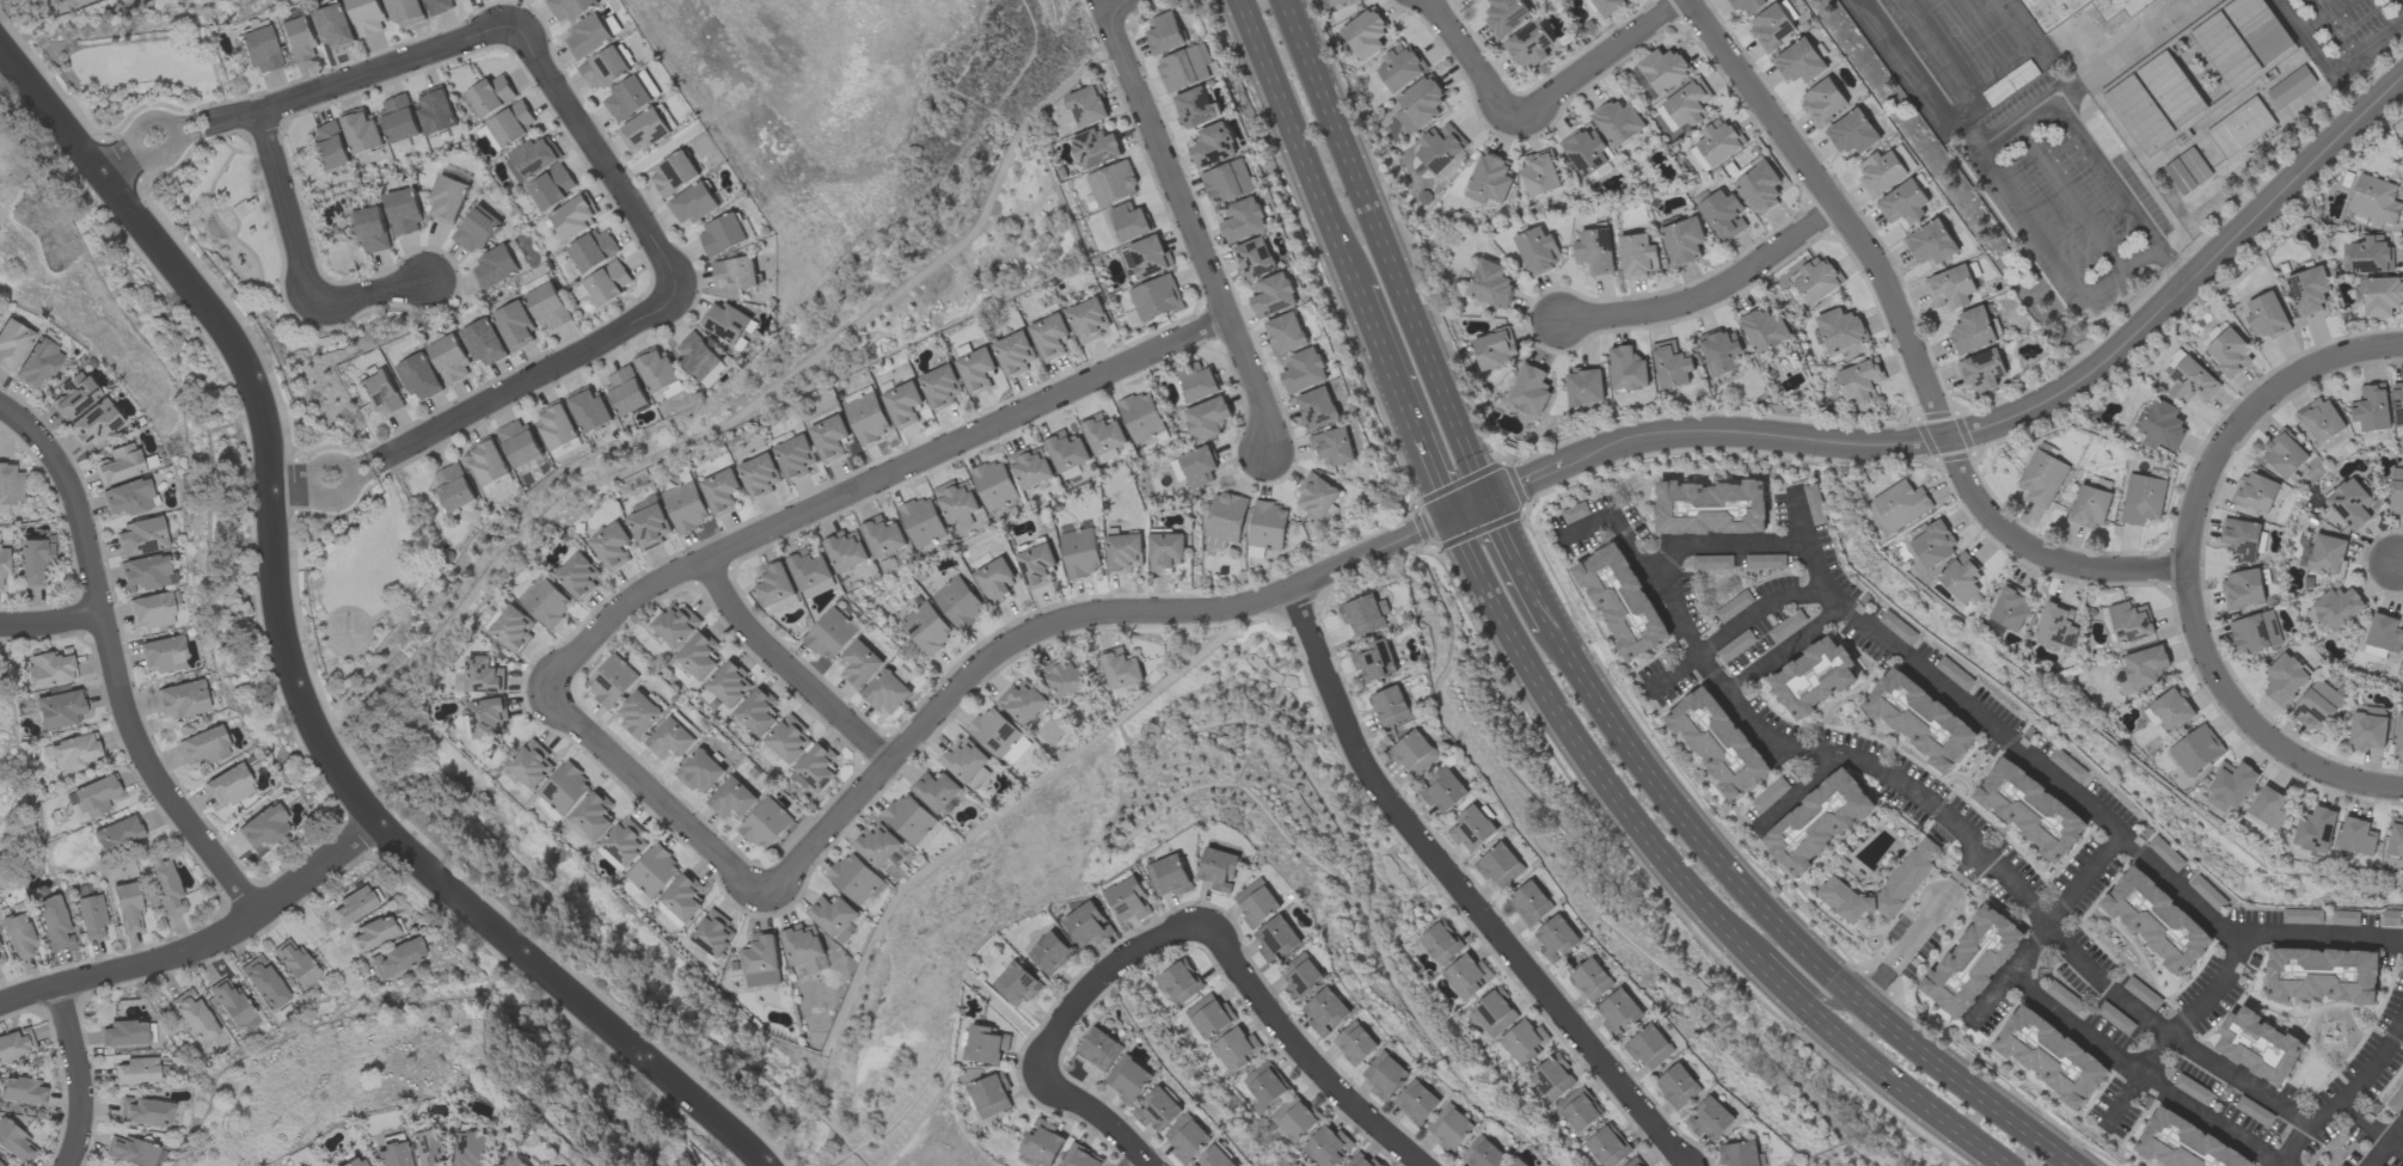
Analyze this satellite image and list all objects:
building: (1338, 2)
road: (2401, 2)
road: (1114, 5)
building: (1747, 5)
building: (441, 6)
building: (1608, 6)
building: (569, 8)
building: (2070, 10)
building: (406, 12)
building: (1507, 16)
building: (368, 17)
building: (335, 25)
building: (1772, 26)
building: (1164, 33)
building: (1365, 33)
building: (588, 36)
building: (299, 38)
building: (2242, 39)
building: (1530, 45)
building: (260, 50)
building: (1800, 61)
road: (2335, 65)
building: (603, 68)
building: (1184, 68)
building: (1400, 68)
building: (1663, 69)
building: (2291, 87)
building: (491, 94)
road: (300, 99)
building: (626, 99)
building: (1823, 100)
building: (2156, 100)
building: (1421, 105)
building: (1087, 106)
road: (1539, 106)
building: (1684, 106)
building: (1196, 108)
building: (435, 110)
building: (398, 118)
building: (1618, 122)
building: (511, 123)
building: (2240, 127)
building: (360, 130)
building: (644, 130)
building: (1853, 133)
road: (2005, 135)
road: (1294, 141)
building: (329, 145)
building: (1715, 145)
building: (1214, 146)
building: (1095, 147)
park: (35, 148)
building: (1439, 148)
road: (602, 154)
building: (532, 158)
road: (44, 164)
park: (189, 165)
building: (1418, 167)
building: (2186, 171)
building: (1881, 172)
building: (673, 174)
building: (1539, 176)
building: (1489, 179)
building: (1227, 182)
building: (1112, 183)
building: (551, 188)
building: (1760, 188)
road: (2072, 197)
building: (447, 198)
building: (2374, 200)
building: (1904, 203)
building: (692, 204)
building: (404, 211)
road: (289, 213)
building: (1723, 214)
building: (575, 215)
building: (1244, 220)
building: (1128, 221)
road: (1191, 221)
building: (370, 229)
building: (476, 229)
building: (722, 234)
building: (1682, 239)
building: (1932, 243)
building: (593, 250)
road: (1384, 250)
building: (1537, 250)
building: (1595, 251)
building: (2370, 254)
building: (1637, 256)
building: (1146, 257)
building: (1255, 258)
building: (495, 268)
building: (734, 274)
building: (1816, 280)
building: (607, 283)
building: (1490, 284)
building: (1951, 288)
building: (2309, 290)
road: (1712, 294)
building: (1274, 295)
road: (373, 296)
building: (2381, 296)
building: (1155, 297)
building: (548, 306)
building: (2266, 315)
building: (1087, 320)
building: (724, 321)
building: (515, 326)
building: (1840, 330)
building: (1765, 331)
building: (1973, 331)
building: (1287, 333)
building: (1049, 336)
road: (1908, 340)
building: (484, 343)
building: (1820, 343)
building: (12, 344)
building: (1495, 349)
building: (1721, 351)
building: (2229, 351)
building: (1013, 354)
building: (698, 355)
building: (449, 358)
building: (2175, 358)
building: (38, 364)
building: (1672, 364)
building: (1626, 368)
building: (656, 369)
building: (976, 370)
building: (1305, 370)
building: (1982, 370)
building: (716, 375)
building: (419, 376)
building: (1196, 381)
building: (1859, 381)
building: (2193, 381)
building: (940, 387)
building: (1584, 387)
building: (626, 391)
building: (1530, 391)
building: (381, 393)
building: (73, 397)
road: (1399, 400)
building: (902, 405)
road: (482, 406)
building: (2398, 406)
building: (1318, 407)
building: (589, 409)
building: (2371, 409)
building: (865, 415)
building: (1141, 417)
road: (2249, 417)
building: (1207, 419)
building: (2321, 421)
building: (93, 424)
building: (2159, 424)
building: (557, 425)
road: (2000, 425)
building: (1102, 434)
building: (829, 437)
building: (519, 442)
building: (1334, 446)
building: (1066, 450)
building: (2285, 454)
building: (795, 458)
building: (488, 461)
building: (119, 465)
building: (1199, 466)
building: (1030, 467)
building: (1177, 470)
building: (759, 475)
building: (2042, 478)
road: (872, 483)
building: (10, 485)
building: (994, 485)
building: (454, 486)
building: (721, 491)
building: (2396, 491)
building: (2255, 492)
building: (1317, 495)
building: (127, 498)
building: (2143, 499)
building: (956, 501)
building: (1815, 504)
building: (1901, 504)
building: (2350, 504)
building: (685, 507)
building: (1712, 507)
building: (2089, 507)
road: (1467, 509)
building: (1575, 513)
building: (1226, 516)
road: (1617, 520)
building: (921, 522)
building: (649, 526)
building: (1268, 526)
building: (882, 536)
building: (141, 538)
building: (2240, 538)
building: (1933, 544)
building: (612, 546)
building: (846, 551)
building: (1080, 552)
building: (1123, 552)
building: (1165, 552)
building: (2327, 554)
building: (1765, 561)
building: (4, 563)
building: (35, 563)
road: (1516, 563)
building: (1712, 563)
road: (2399, 563)
building: (1036, 565)
building: (809, 569)
building: (145, 573)
building: (578, 575)
building: (1961, 578)
building: (995, 579)
building: (774, 584)
building: (2243, 588)
park: (364, 589)
building: (544, 602)
building: (958, 602)
building: (1622, 603)
building: (1734, 606)
building: (2011, 607)
building: (2337, 608)
road: (1760, 609)
building: (152, 610)
building: (1365, 614)
road: (51, 621)
building: (2131, 621)
building: (675, 624)
road: (1062, 626)
building: (1786, 626)
building: (1898, 627)
building: (511, 628)
building: (926, 628)
building: (2055, 630)
building: (2255, 632)
building: (830, 634)
building: (2383, 636)
road: (1788, 651)
building: (163, 653)
building: (698, 656)
road: (292, 661)
building: (1375, 661)
road: (115, 664)
building: (860, 664)
road: (792, 665)
building: (2145, 665)
building: (1120, 668)
building: (49, 669)
building: (1955, 673)
building: (479, 676)
building: (1063, 677)
road: (1679, 677)
building: (1816, 679)
building: (2285, 679)
building: (612, 680)
building: (730, 685)
building: (888, 692)
building: (182, 699)
building: (1023, 701)
building: (2318, 705)
building: (1390, 706)
building: (59, 708)
building: (2172, 710)
building: (758, 711)
building: (638, 713)
building: (1920, 720)
road: (2254, 725)
building: (2367, 726)
building: (994, 732)
building: (2399, 736)
building: (789, 738)
building: (670, 740)
building: (1718, 743)
building: (203, 745)
building: (2195, 750)
building: (74, 753)
building: (1414, 753)
building: (967, 762)
building: (532, 765)
building: (2067, 765)
building: (815, 768)
building: (701, 771)
road: (2058, 781)
building: (228, 786)
building: (2230, 786)
road: (1800, 787)
building: (564, 788)
building: (1443, 790)
road: (1911, 790)
road: (654, 791)
building: (936, 791)
building: (1770, 794)
building: (93, 796)
building: (732, 798)
building: (2269, 806)
building: (2030, 810)
building: (594, 814)
building: (908, 818)
building: (766, 823)
building: (1820, 824)
building: (263, 828)
building: (1472, 829)
building: (2315, 829)
building: (117, 834)
building: (2358, 836)
building: (2395, 837)
building: (624, 842)
building: (877, 845)
building: (2166, 853)
building: (1501, 865)
building: (1220, 869)
building: (654, 871)
building: (1171, 876)
building: (853, 878)
road: (1682, 879)
building: (1902, 886)
building: (166, 888)
road: (1466, 894)
building: (2208, 894)
building: (682, 897)
building: (1129, 900)
building: (1258, 903)
building: (1532, 903)
building: (354, 906)
building: (128, 908)
building: (669, 914)
building: (91, 916)
building: (2303, 916)
building: (833, 918)
building: (2346, 918)
building: (54, 922)
building: (2156, 923)
building: (1087, 925)
road: (1779, 925)
road: (1921, 927)
road: (2043, 928)
building: (712, 933)
building: (372, 934)
building: (19, 935)
road: (317, 938)
building: (1279, 939)
building: (1557, 939)
road: (203, 941)
building: (1440, 943)
building: (802, 944)
building: (1050, 953)
building: (397, 958)
building: (1, 961)
building: (761, 961)
building: (1972, 962)
building: (295, 963)
road: (1785, 964)
building: (1302, 976)
building: (1467, 976)
road: (1103, 977)
building: (2323, 978)
building: (1593, 980)
building: (264, 982)
building: (1014, 982)
building: (1178, 983)
building: (2141, 993)
building: (231, 1002)
road: (2200, 1009)
building: (1326, 1012)
building: (1620, 1012)
building: (1494, 1013)
building: (194, 1015)
building: (1209, 1015)
building: (2115, 1018)
road: (2077, 1027)
building: (123, 1033)
building: (1524, 1042)
building: (1356, 1043)
building: (16, 1044)
building: (987, 1044)
building: (1650, 1047)
building: (2260, 1047)
building: (1101, 1049)
building: (1233, 1050)
road: (1306, 1054)
building: (2050, 1057)
building: (136, 1070)
building: (1386, 1075)
road: (75, 1078)
building: (1552, 1078)
building: (1128, 1079)
building: (1265, 1086)
building: (1679, 1086)
building: (2193, 1090)
building: (23, 1091)
road: (2349, 1091)
building: (991, 1094)
building: (2396, 1100)
building: (1417, 1101)
road: (2127, 1101)
building: (1158, 1110)
building: (1578, 1110)
building: (145, 1112)
road: (1099, 1113)
building: (1293, 1119)
building: (1711, 1119)
road: (2212, 1122)
road: (2364, 1123)
building: (1452, 1128)
building: (1188, 1139)
building: (1042, 1142)
building: (16, 1143)
building: (2183, 1143)
road: (2386, 1146)
building: (427, 1147)
building: (1328, 1147)
building: (1607, 1147)
road: (2396, 1148)
building: (472, 1149)
building: (129, 1150)
building: (392, 1152)
building: (1484, 1153)
building: (1741, 1154)
building: (1080, 1156)
building: (1215, 1158)
building: (353, 1161)
building: (516, 1161)
building: (1361, 1161)
building: (1519, 1162)
building: (1635, 1162)
building: (0, 1165)

